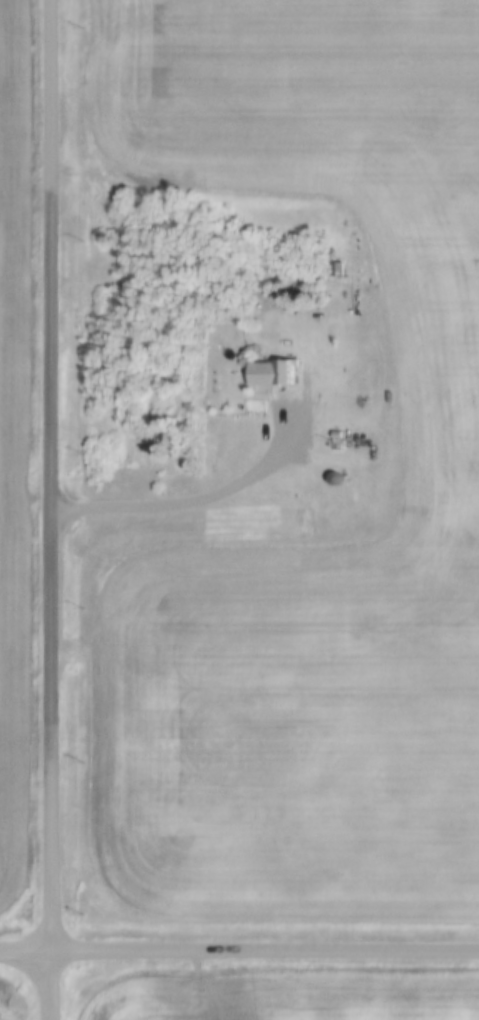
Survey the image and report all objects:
building: (340, 265)
building: (274, 368)
building: (341, 436)
building: (336, 441)
road: (49, 474)
building: (339, 475)
silo: (339, 475)
road: (202, 501)
road: (264, 949)
road: (25, 950)
road: (50, 985)

